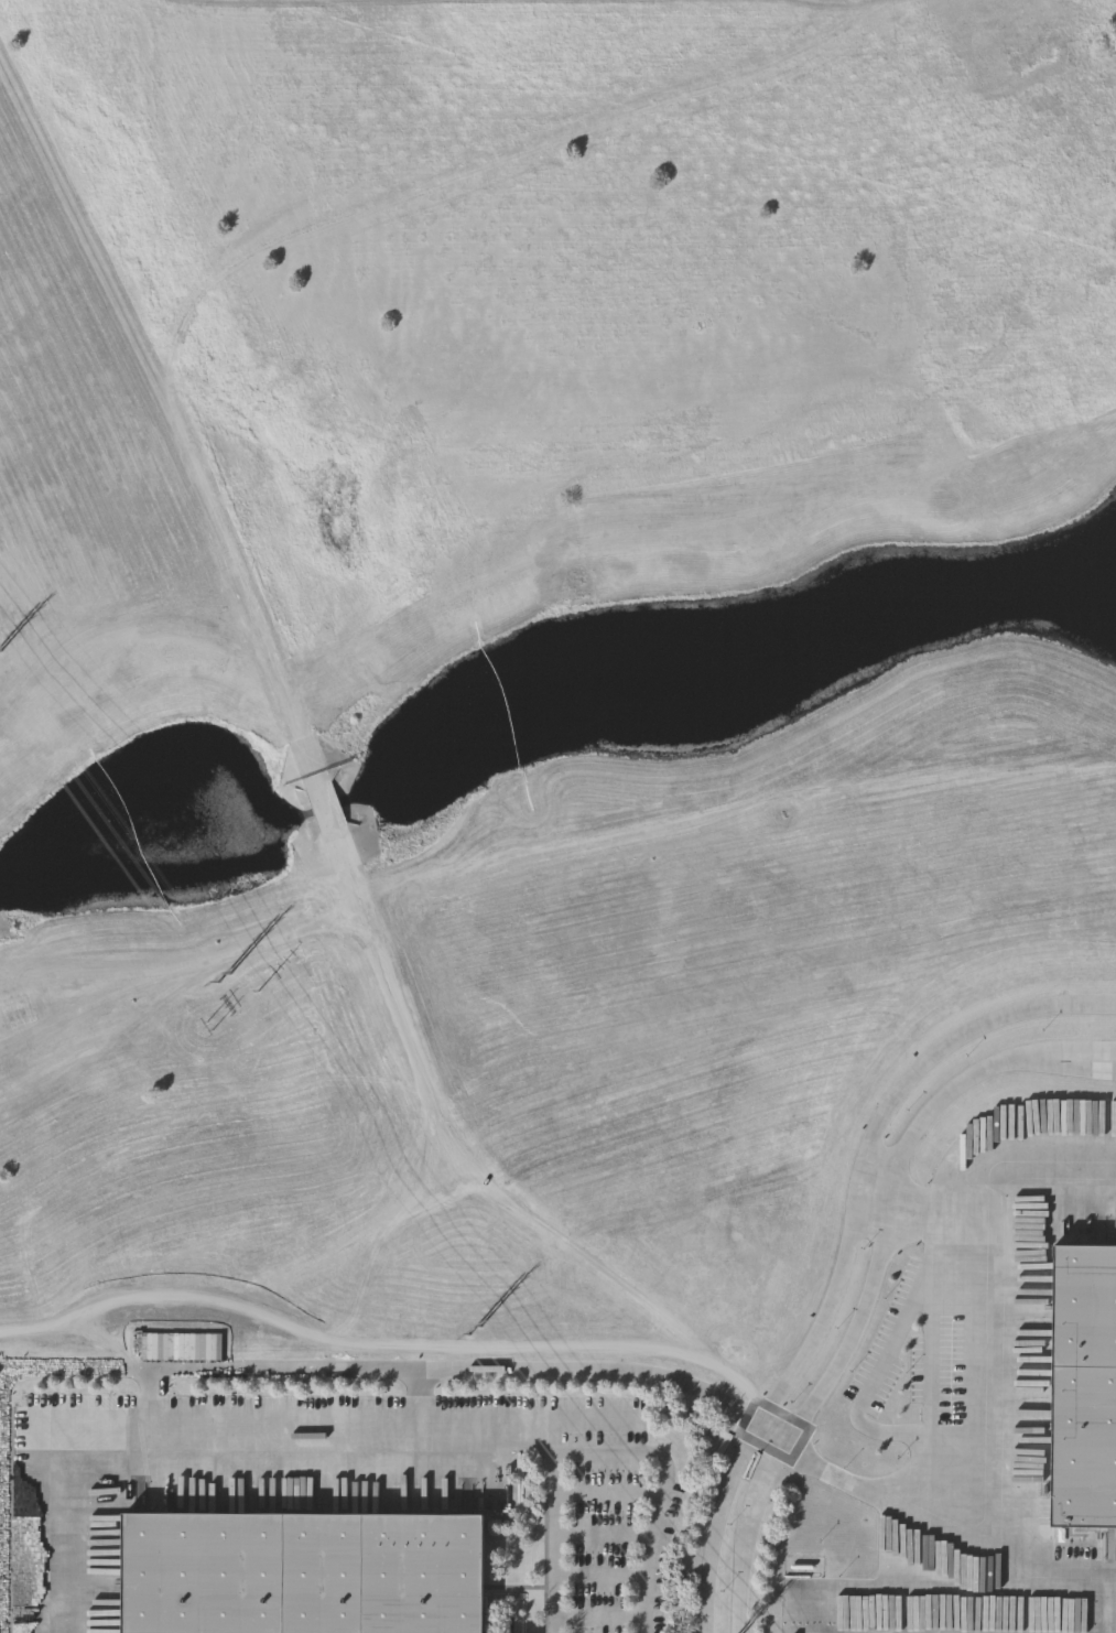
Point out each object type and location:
building: (3, 927)
power tower: (227, 977)
power tower: (261, 993)
power tower: (213, 1029)
building: (1030, 1146)
road: (1045, 1193)
road: (878, 1197)
road: (846, 1251)
road: (874, 1283)
building: (903, 1305)
power tower: (485, 1333)
road: (884, 1362)
road: (274, 1371)
building: (1085, 1385)
road: (419, 1402)
road: (155, 1404)
road: (978, 1407)
road: (306, 1435)
road: (598, 1452)
road: (661, 1461)
road: (1031, 1560)
building: (304, 1571)
road: (1081, 1573)

